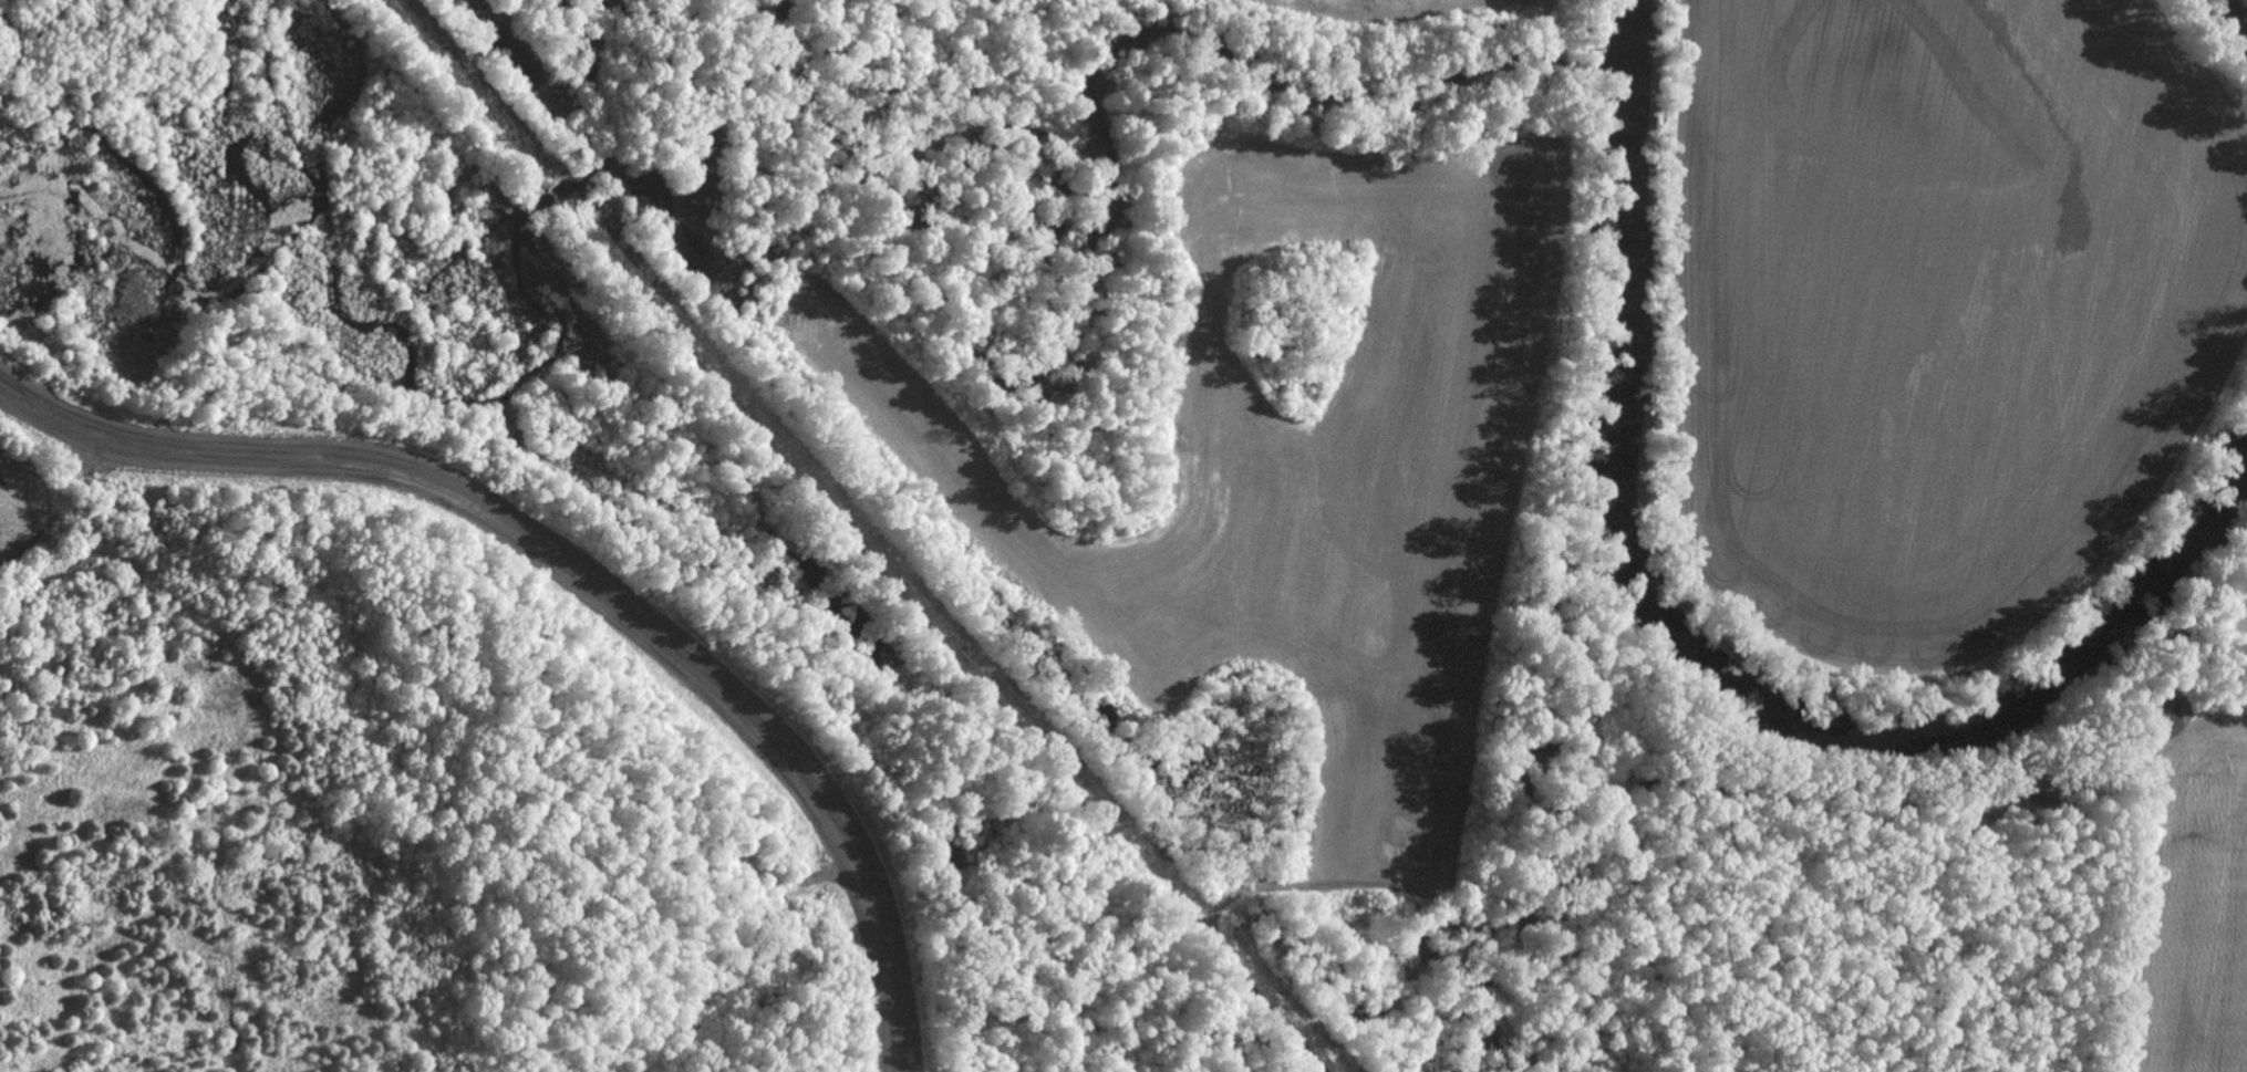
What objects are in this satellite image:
river: (2239, 10)
road: (577, 573)
river: (1696, 660)

